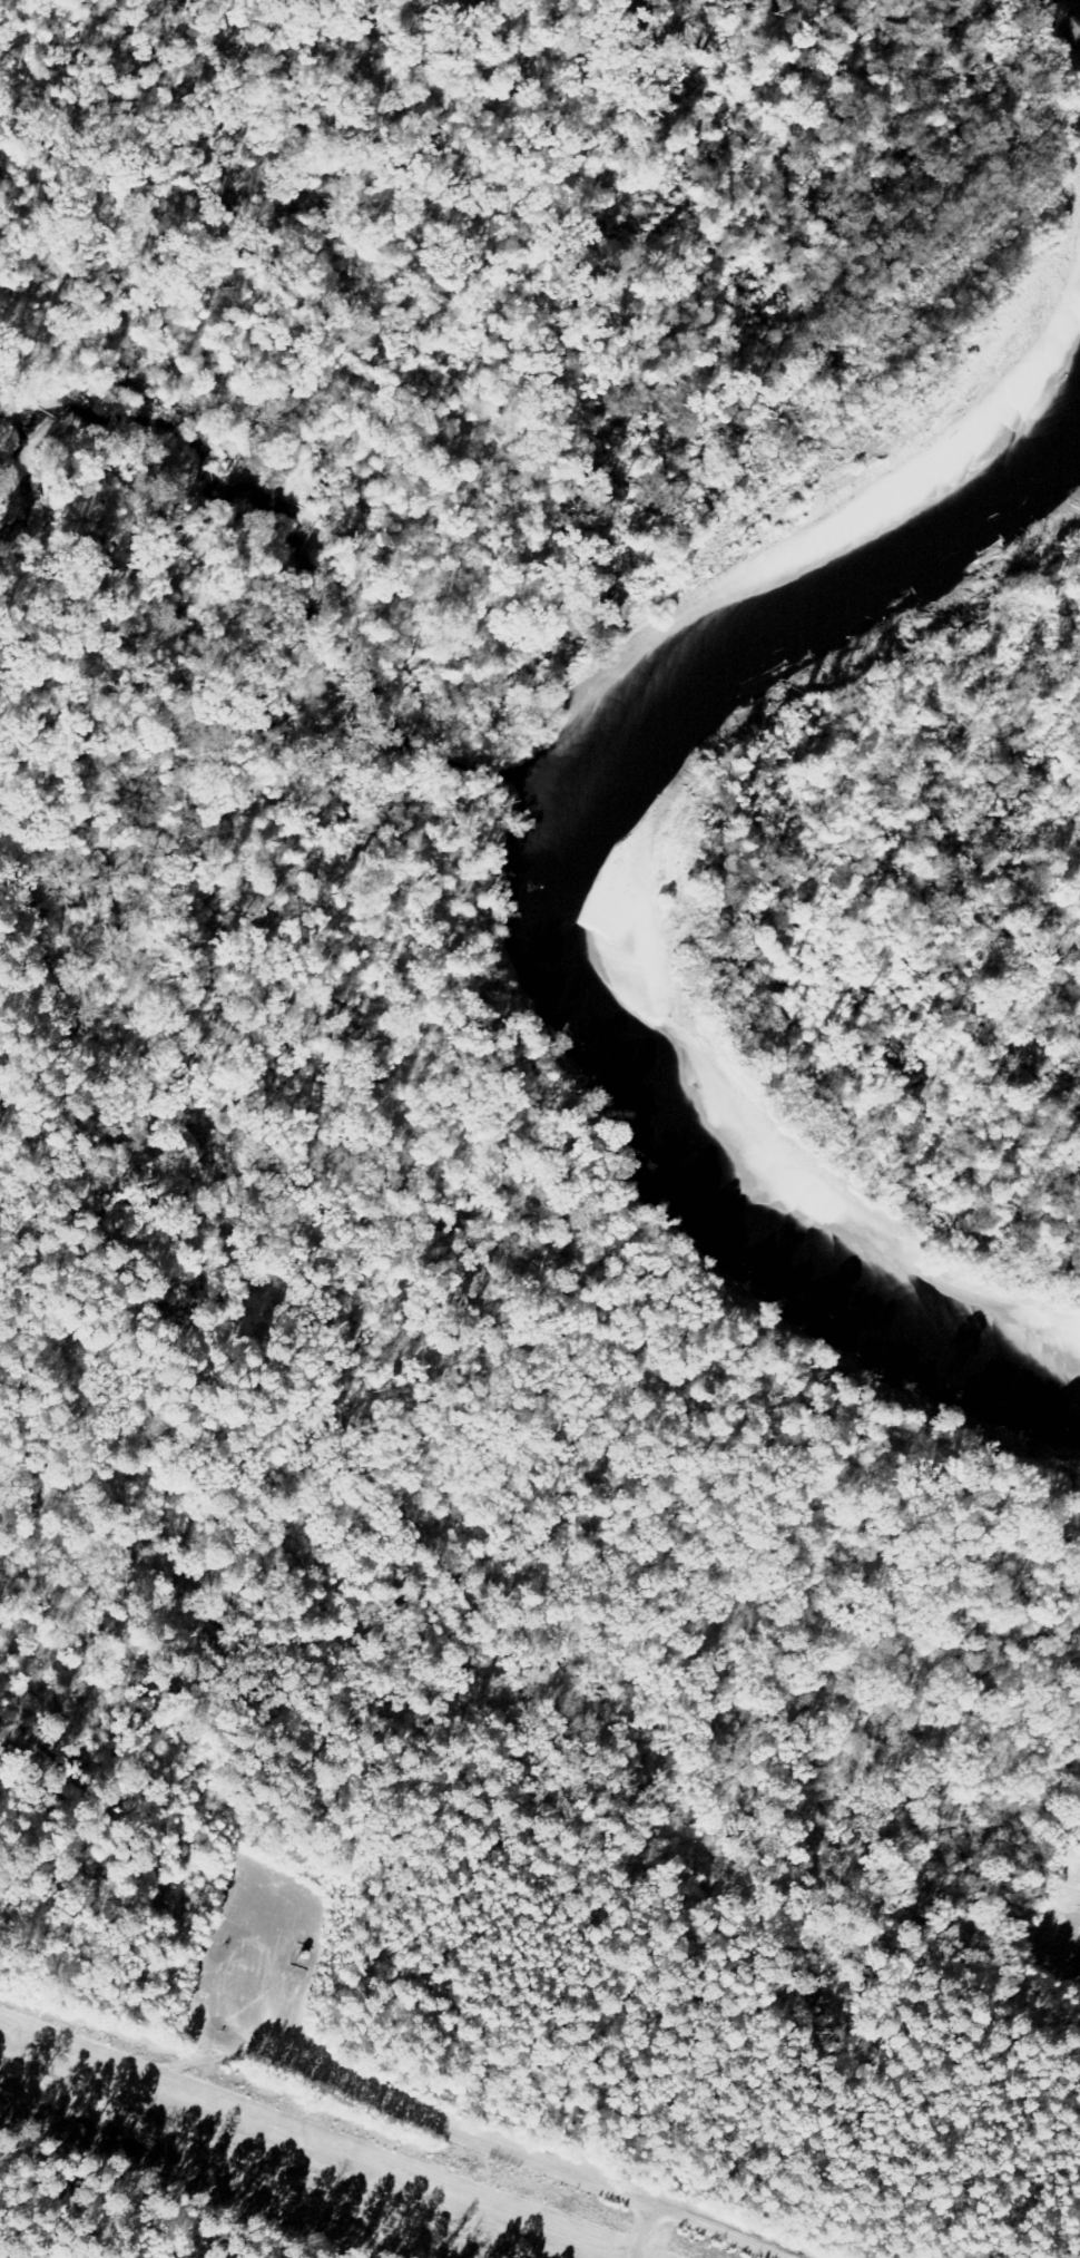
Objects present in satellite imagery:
river: (637, 860)

